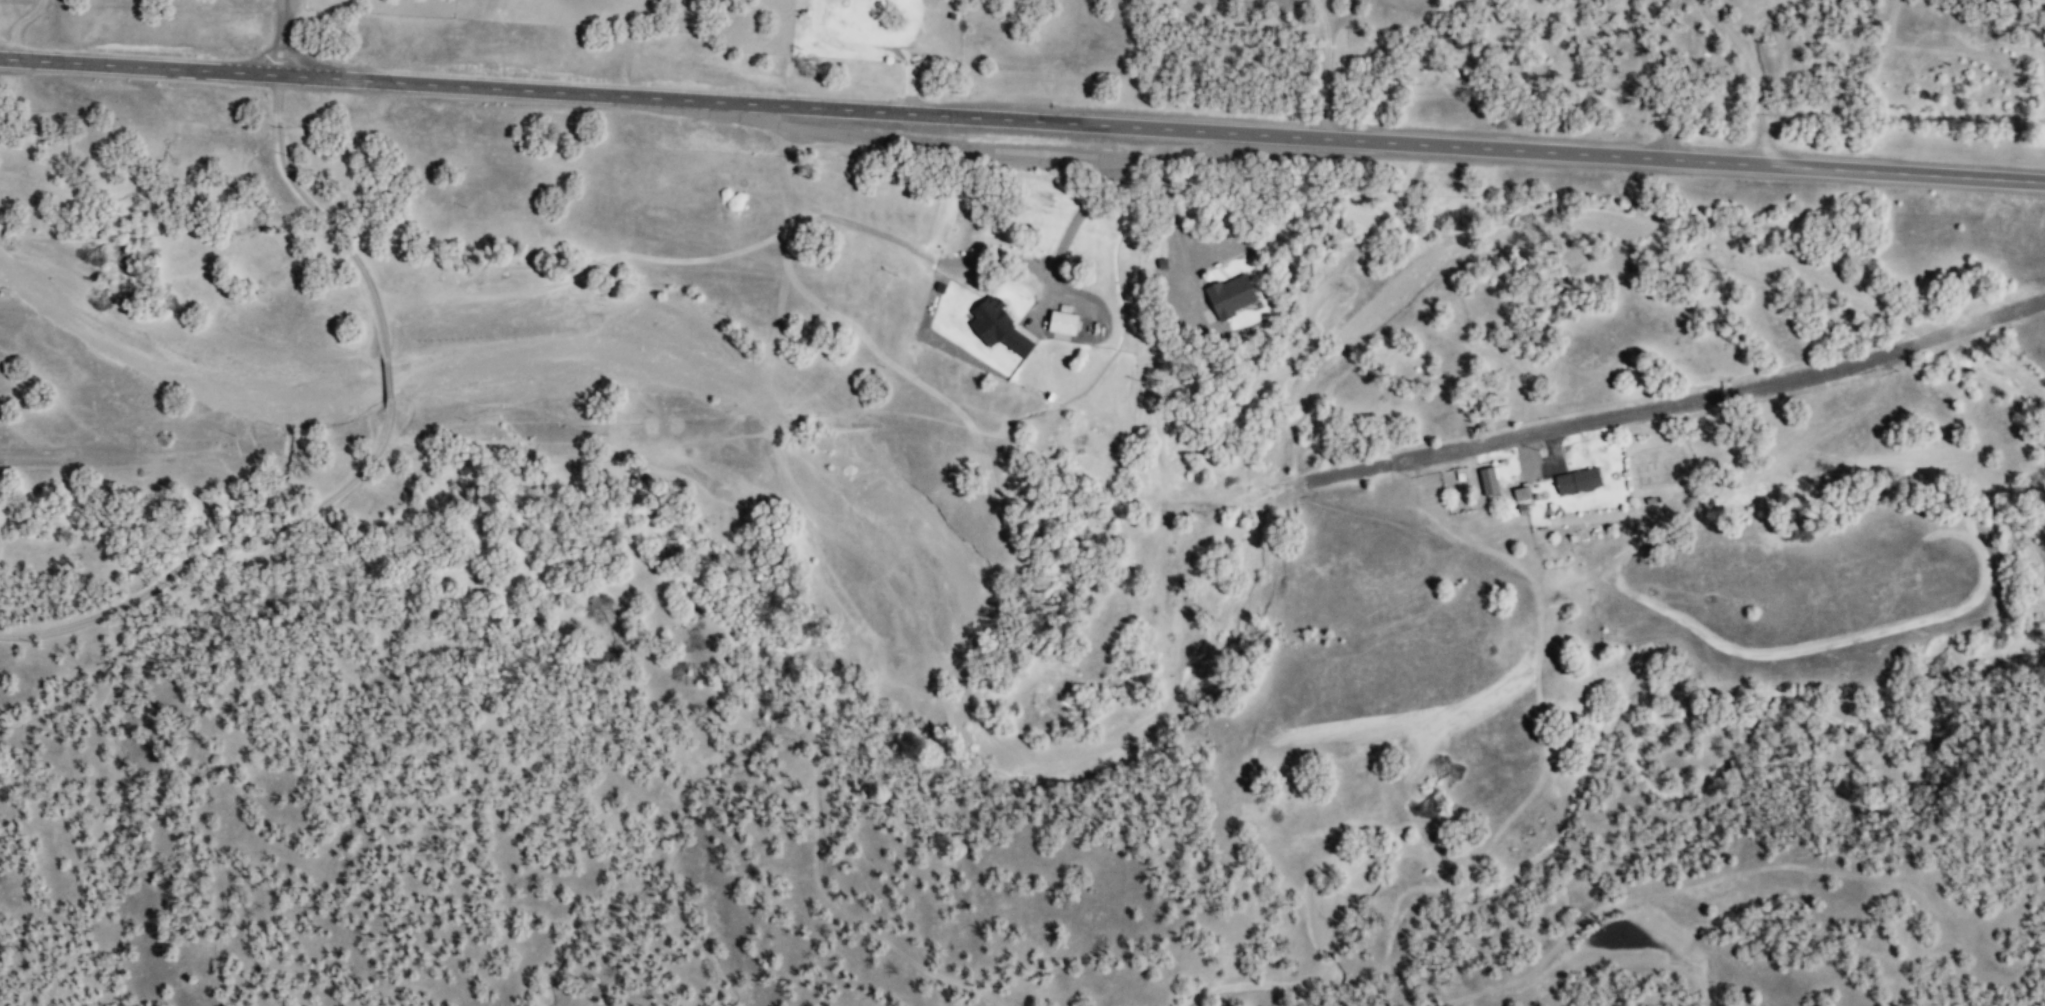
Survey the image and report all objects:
road: (284, 38)
road: (873, 49)
road: (1753, 74)
road: (1652, 78)
road: (1022, 120)
building: (1229, 295)
building: (1061, 322)
building: (997, 326)
building: (1002, 362)
road: (1802, 377)
road: (1532, 468)
road: (1342, 475)
building: (1488, 480)
building: (1577, 480)
building: (1521, 492)
building: (1519, 510)
river: (1042, 770)

